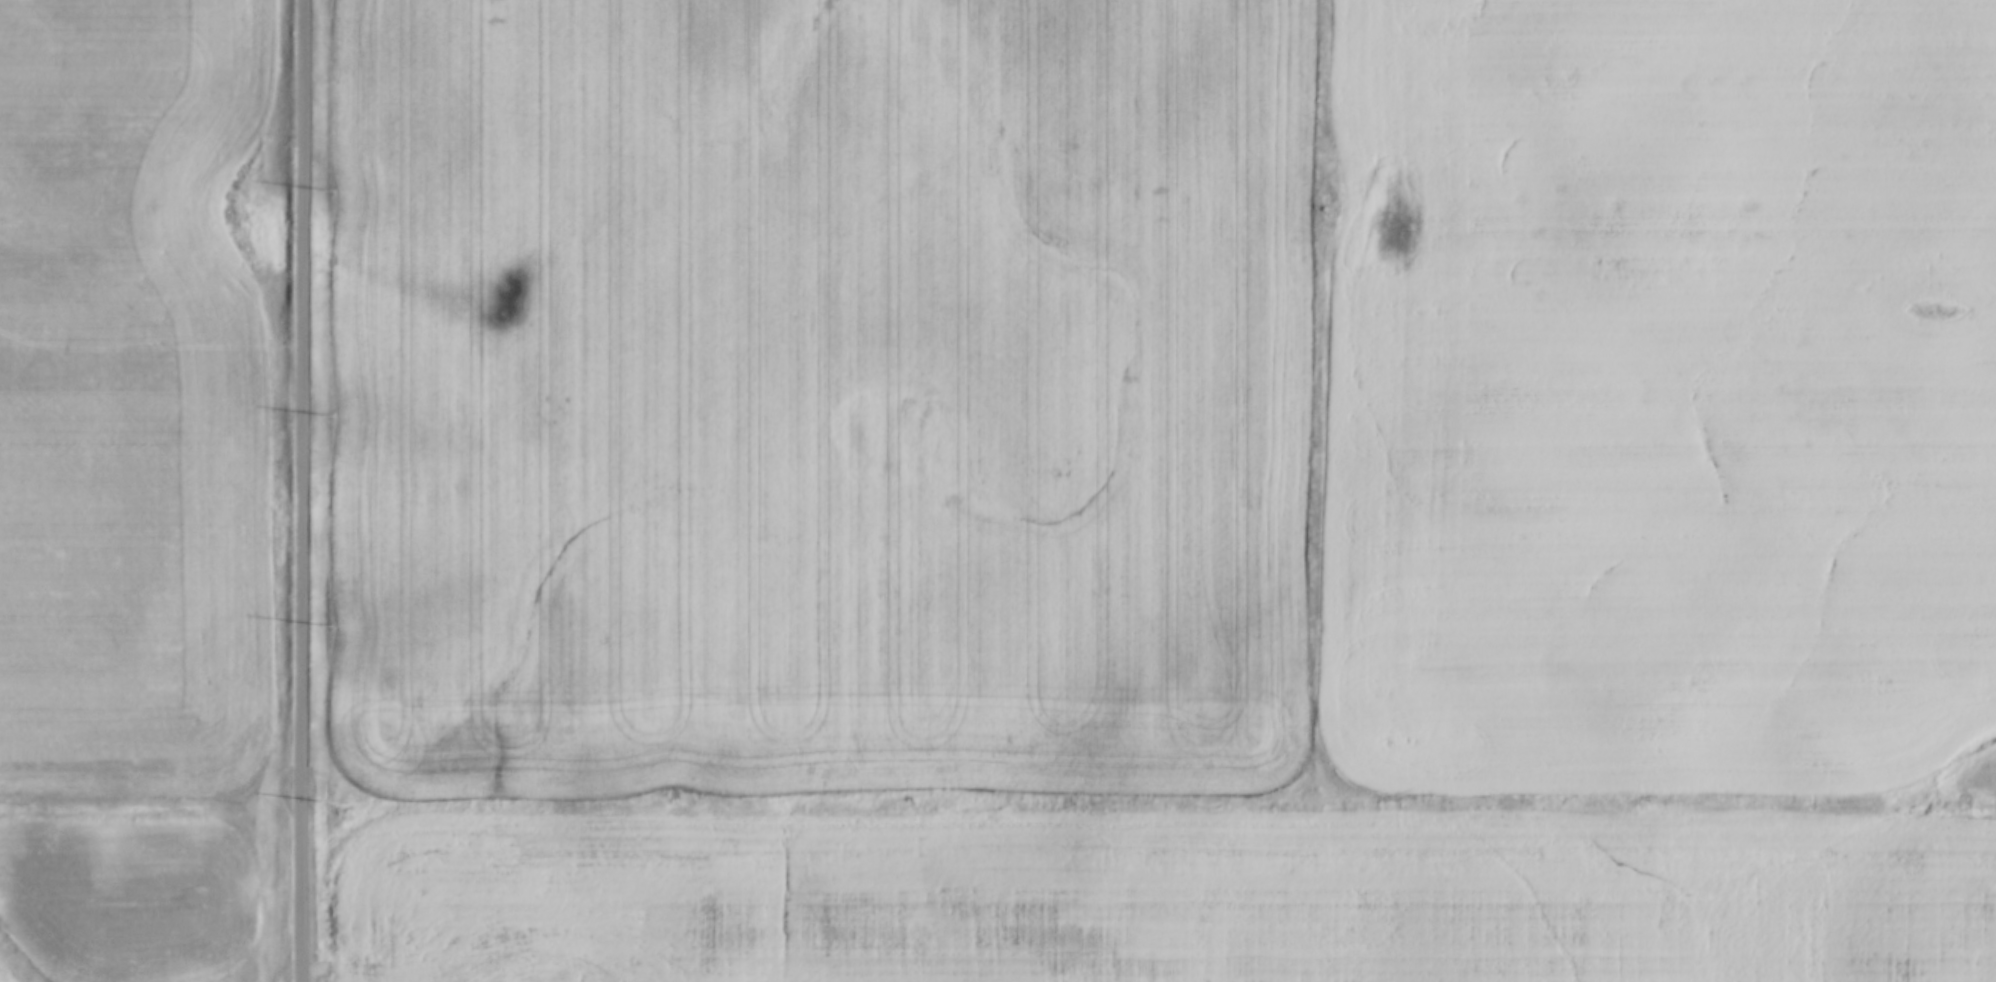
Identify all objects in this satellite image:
road: (304, 491)

